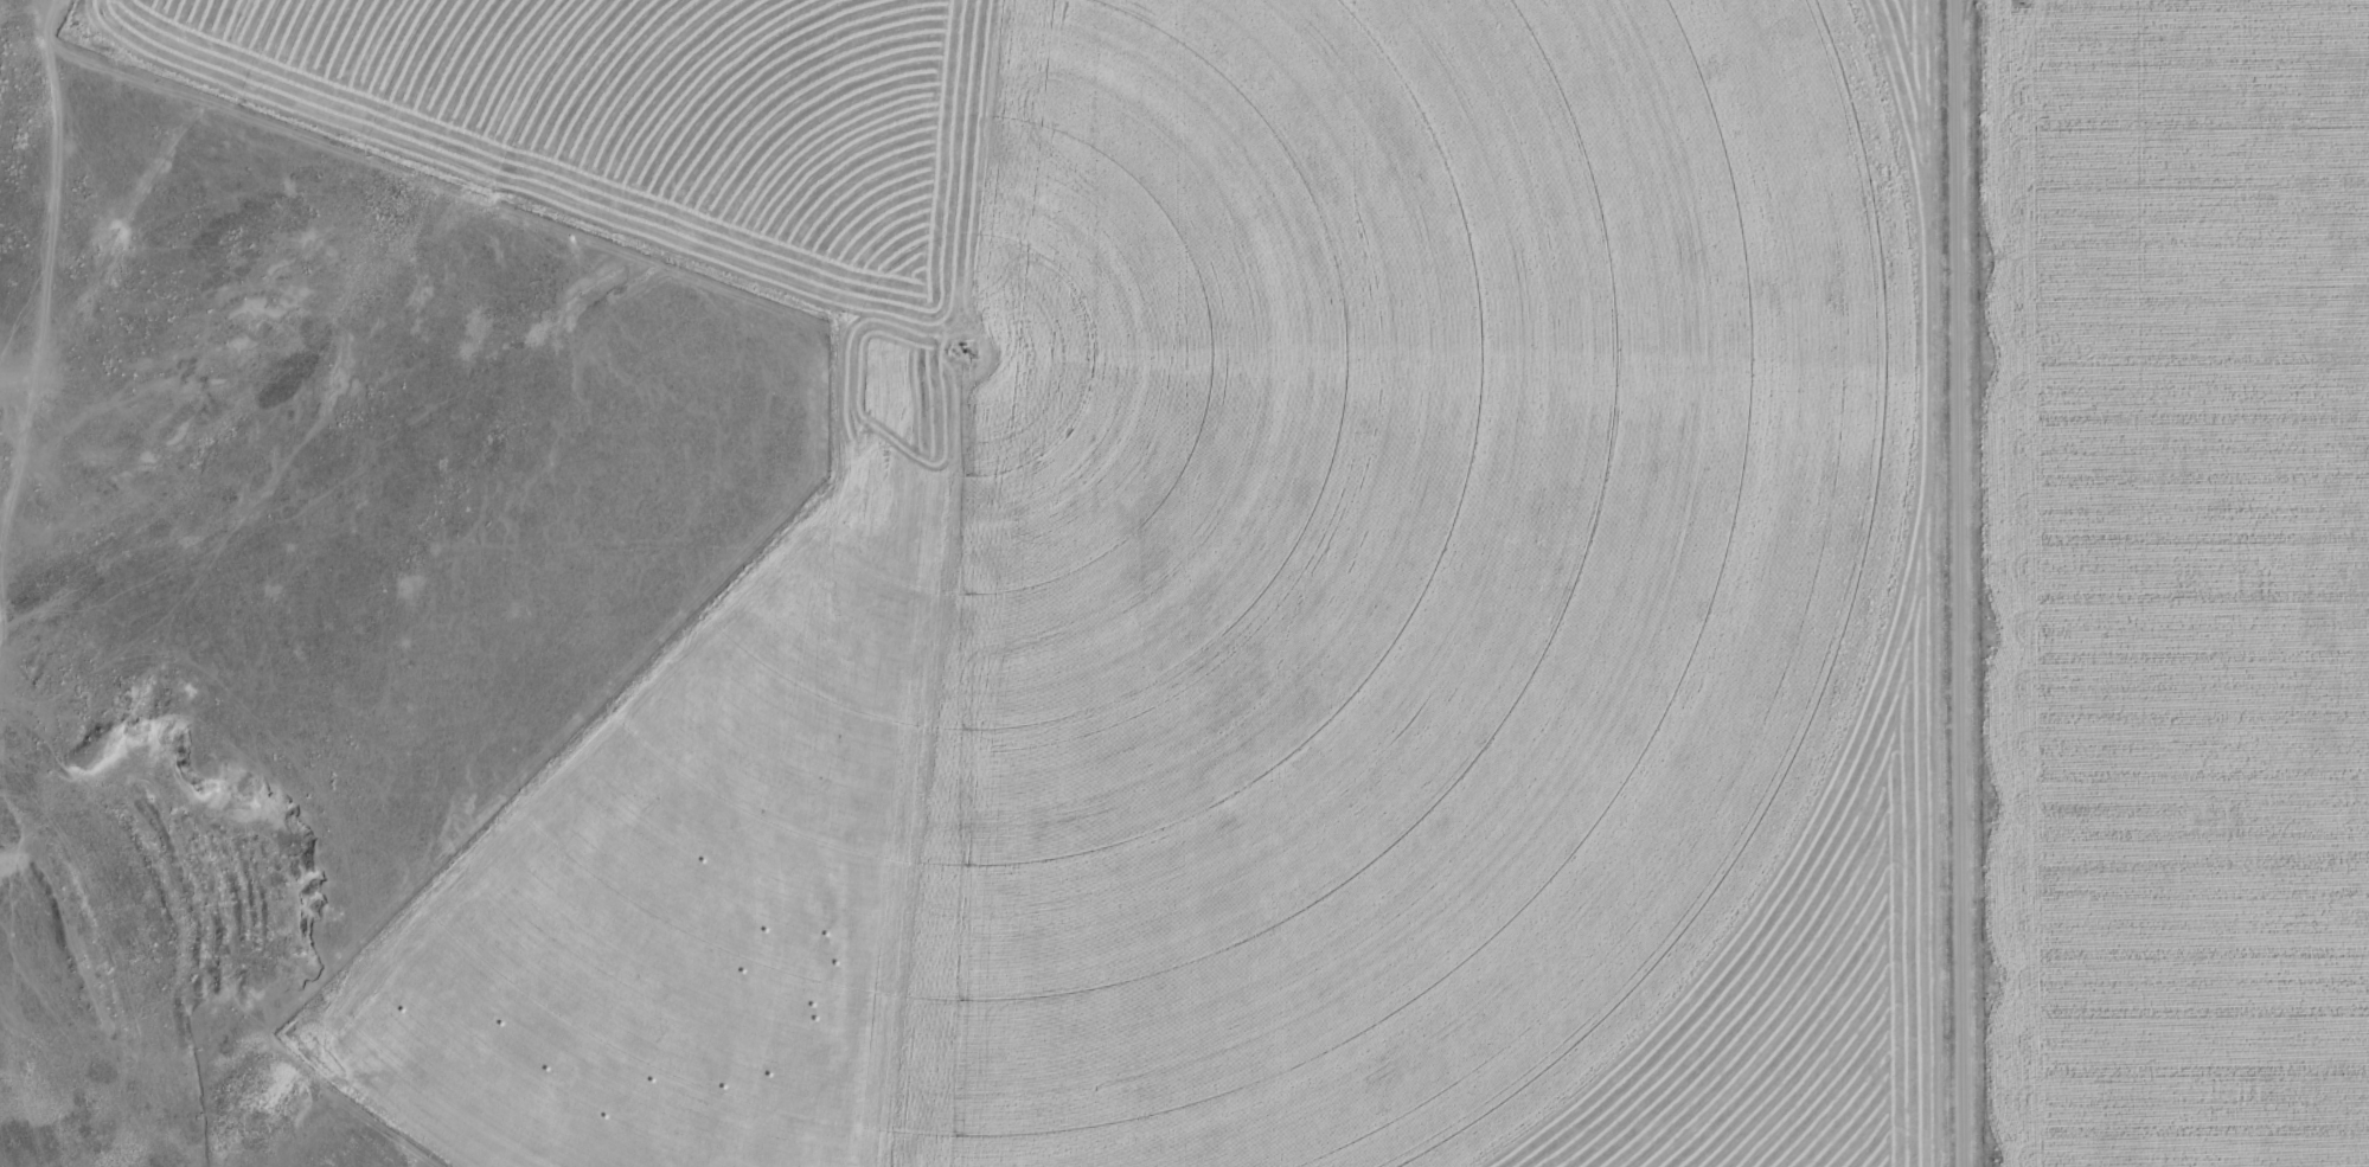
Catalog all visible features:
road: (1964, 583)
dam: (2, 859)

